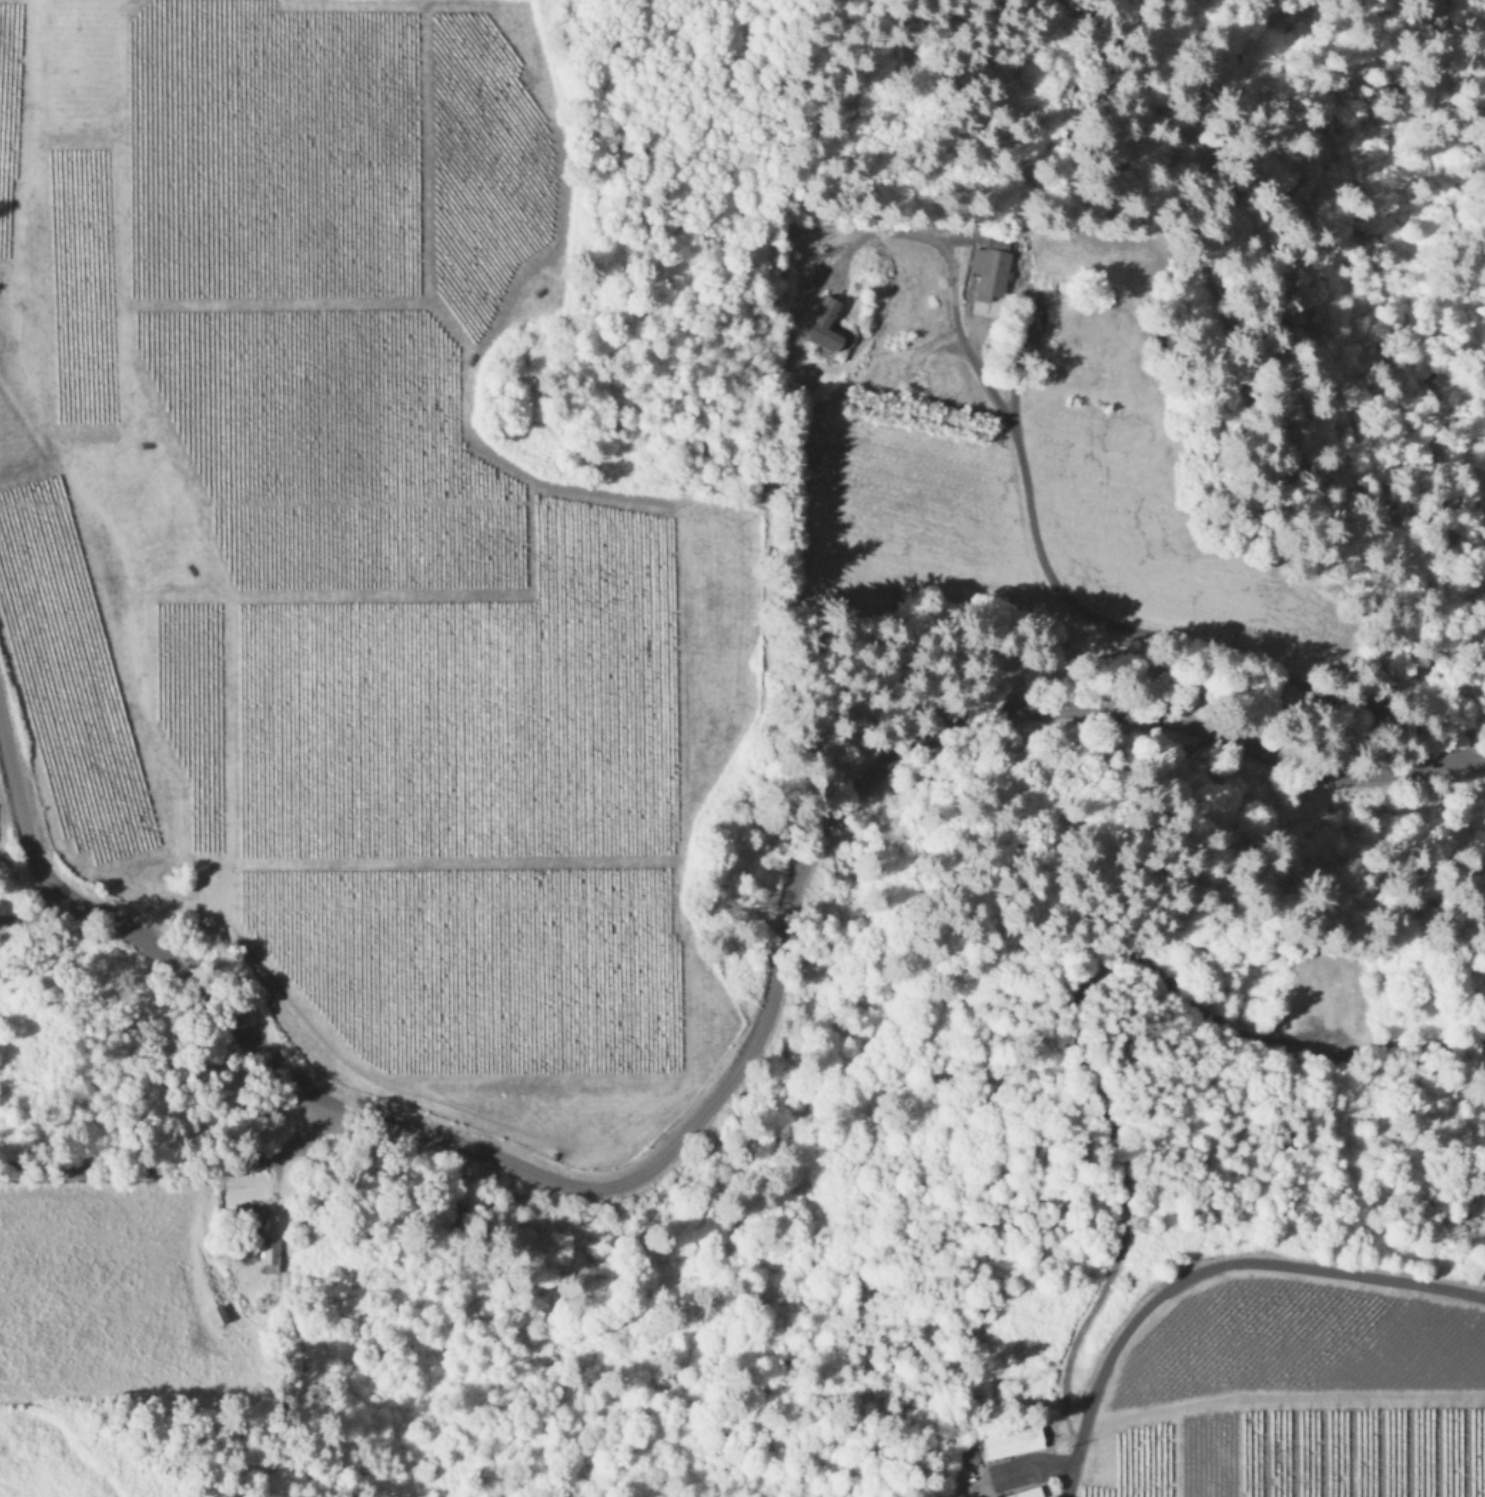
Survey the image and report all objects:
building: (991, 267)
building: (824, 323)
road: (1045, 569)
road: (36, 915)
road: (727, 1074)
road: (175, 1166)
building: (253, 1208)
building: (271, 1254)
road: (1207, 1269)
building: (216, 1313)
building: (1010, 1439)
building: (1022, 1492)

